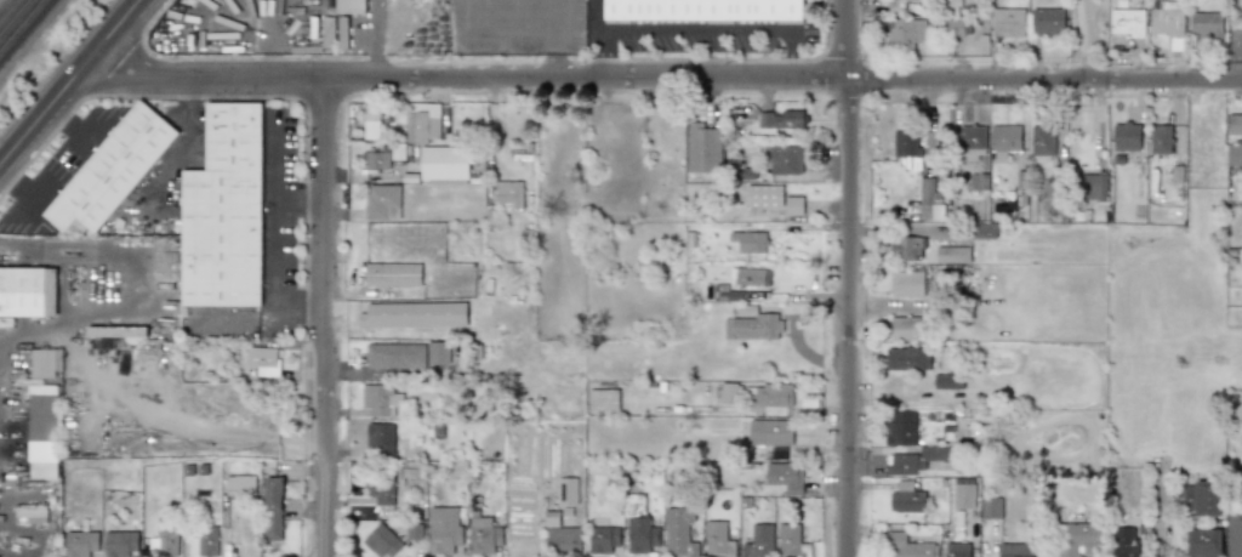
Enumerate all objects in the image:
building: (900, 5)
building: (353, 6)
building: (707, 11)
building: (1127, 18)
building: (1167, 18)
railway: (16, 19)
building: (1008, 22)
building: (1048, 22)
building: (1207, 24)
building: (958, 27)
railway: (23, 28)
road: (700, 29)
building: (327, 32)
building: (342, 33)
building: (904, 33)
road: (1081, 39)
road: (796, 52)
road: (604, 53)
road: (662, 76)
road: (69, 81)
building: (782, 119)
building: (372, 123)
building: (423, 124)
building: (1235, 124)
building: (1128, 136)
building: (1161, 140)
building: (1004, 141)
building: (970, 142)
building: (1043, 142)
building: (906, 143)
building: (702, 146)
building: (1235, 154)
building: (376, 158)
building: (786, 160)
building: (444, 163)
building: (114, 170)
building: (1093, 186)
road: (300, 192)
building: (509, 194)
building: (770, 199)
building: (928, 200)
building: (382, 201)
building: (227, 211)
road: (275, 212)
building: (984, 231)
building: (744, 241)
road: (64, 243)
building: (907, 249)
building: (952, 255)
building: (393, 274)
building: (747, 277)
road: (845, 278)
building: (907, 283)
building: (28, 291)
building: (412, 314)
road: (313, 316)
road: (287, 317)
road: (325, 318)
building: (752, 325)
building: (907, 328)
building: (118, 331)
building: (408, 354)
building: (907, 358)
building: (262, 360)
building: (45, 363)
road: (381, 373)
building: (947, 381)
building: (729, 391)
building: (773, 394)
building: (381, 399)
building: (603, 399)
building: (899, 427)
building: (44, 432)
building: (770, 432)
building: (380, 438)
building: (915, 460)
building: (785, 477)
building: (240, 484)
building: (380, 489)
building: (566, 490)
building: (963, 496)
building: (905, 498)
building: (1202, 498)
building: (992, 507)
building: (273, 508)
building: (638, 527)
building: (444, 528)
building: (414, 532)
building: (679, 533)
building: (1234, 534)
building: (483, 535)
building: (563, 538)
building: (1081, 539)
building: (604, 540)
building: (718, 540)
building: (203, 541)
building: (382, 541)
building: (758, 541)
building: (792, 541)
building: (79, 542)
building: (163, 542)
building: (1127, 542)
building: (1203, 542)
building: (121, 544)
building: (910, 545)
building: (1015, 550)
building: (957, 551)

